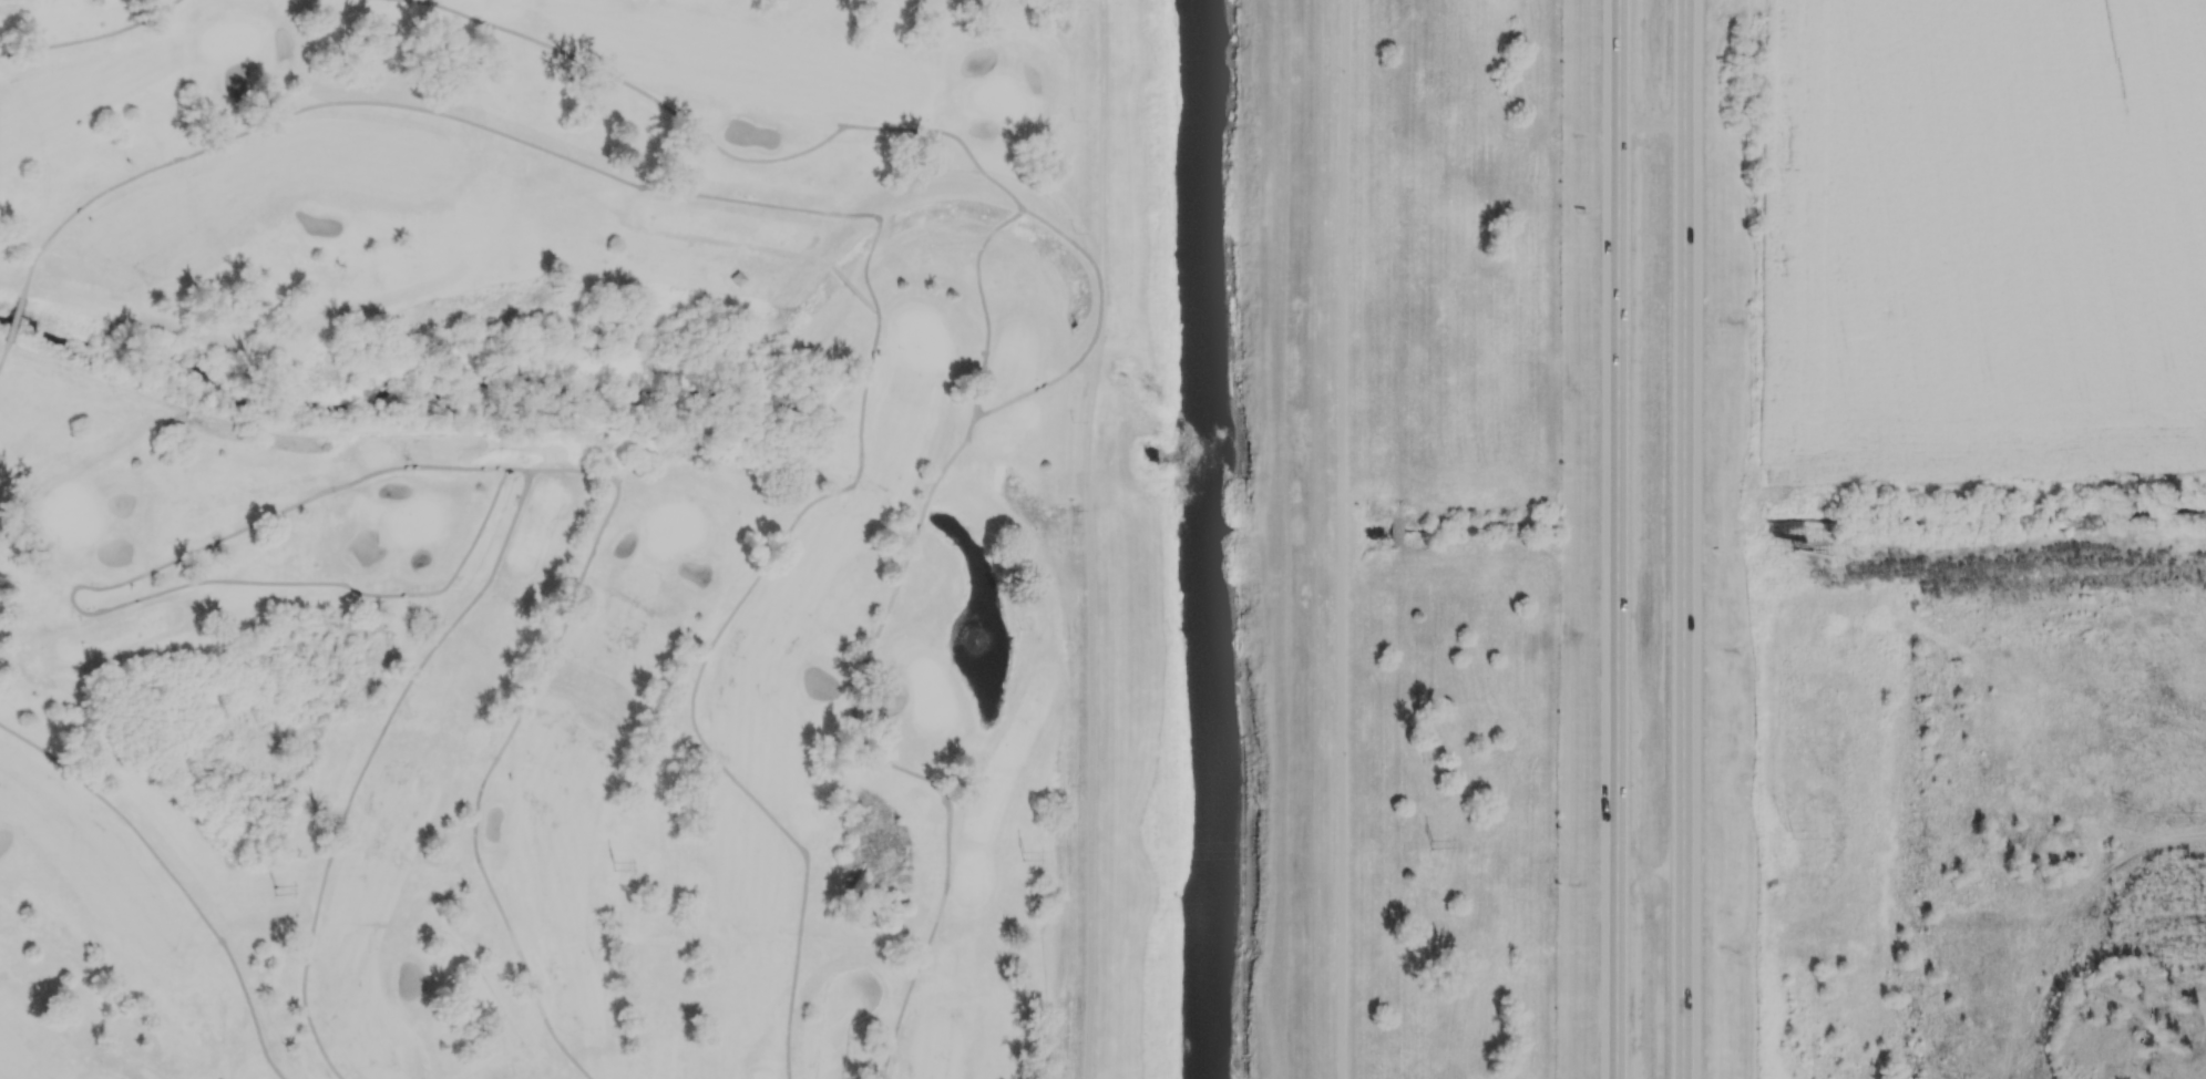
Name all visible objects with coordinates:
road: (91, 37)
road: (838, 124)
road: (1654, 125)
road: (538, 146)
road: (720, 148)
crop: (1984, 239)
river: (1202, 261)
building: (737, 278)
road: (983, 304)
road: (12, 320)
road: (1095, 328)
road: (2, 349)
road: (948, 459)
road: (519, 467)
road: (855, 475)
road: (331, 487)
road: (922, 512)
park: (545, 537)
road: (1085, 538)
road: (1343, 538)
road: (1617, 538)
road: (1312, 539)
road: (1687, 539)
power tower: (2081, 562)
power tower: (1848, 574)
road: (505, 740)
road: (365, 762)
road: (719, 762)
road: (890, 763)
river: (1219, 801)
power tower: (1789, 826)
power tower: (1375, 849)
power tower: (1013, 853)
power tower: (597, 869)
road: (1653, 871)
road: (173, 876)
power tower: (281, 893)
road: (903, 1003)
road: (890, 1046)

